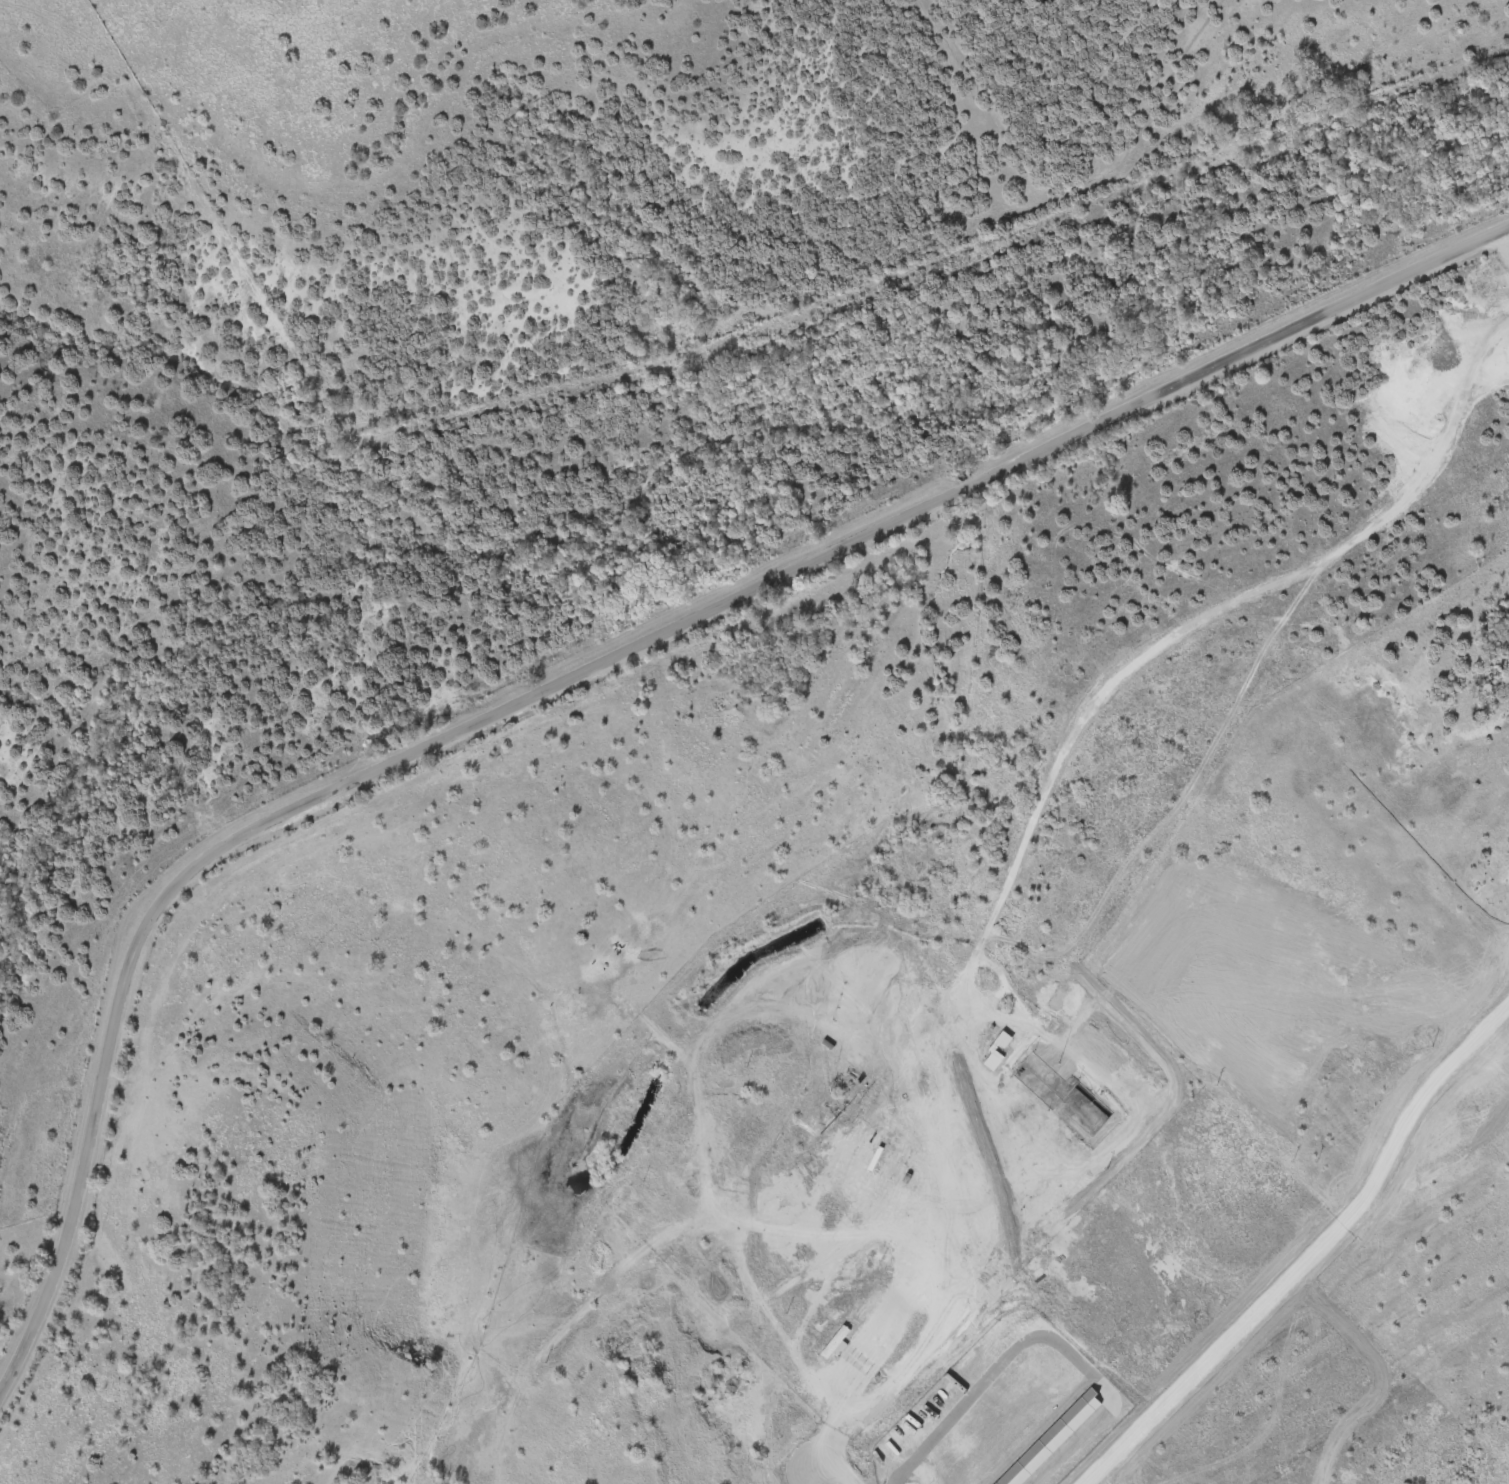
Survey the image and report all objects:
road: (593, 666)
building: (1004, 1038)
building: (1111, 1142)
road: (1315, 1258)
building: (834, 1341)
road: (839, 1471)

